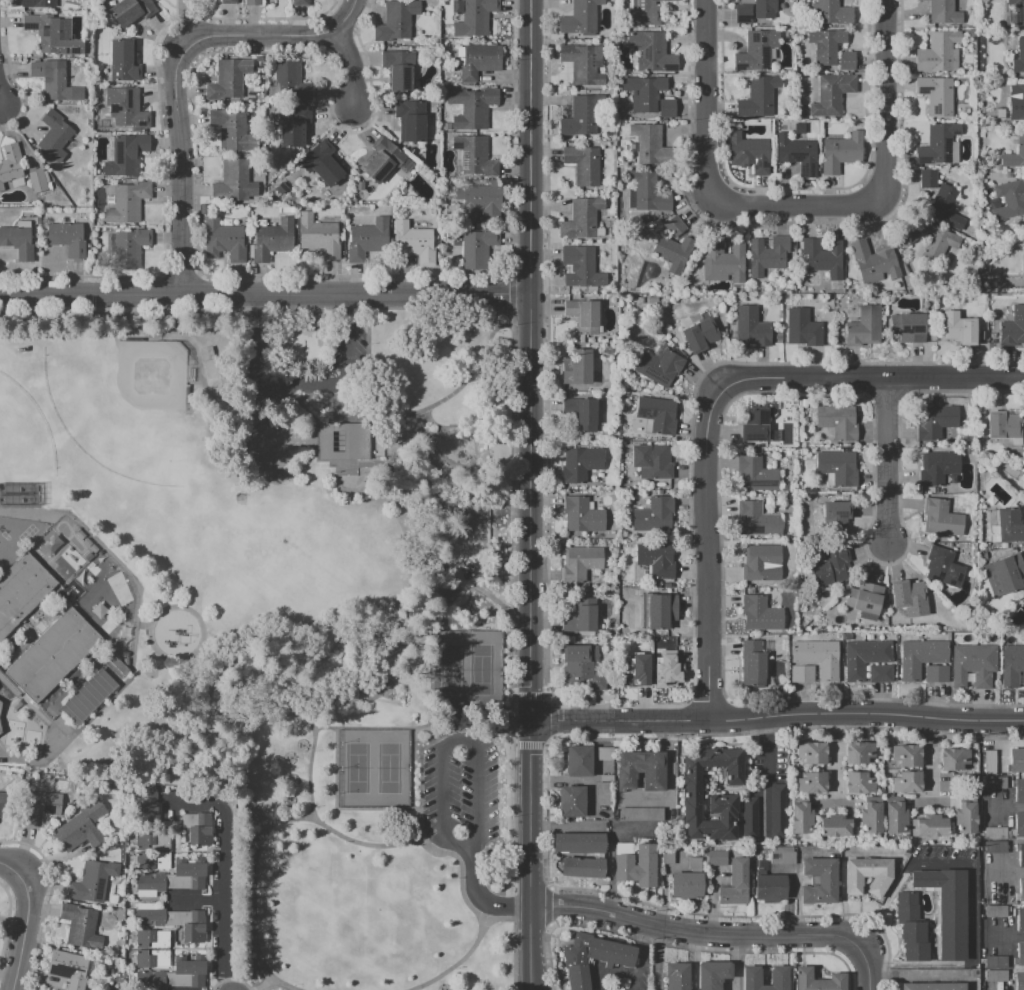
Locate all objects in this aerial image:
building: (229, 1)
building: (253, 2)
building: (34, 3)
building: (300, 3)
building: (764, 9)
building: (131, 11)
building: (644, 13)
building: (743, 13)
building: (831, 13)
building: (945, 13)
building: (1017, 13)
building: (474, 17)
building: (580, 17)
building: (396, 22)
building: (52, 35)
building: (826, 45)
building: (756, 51)
building: (652, 53)
building: (938, 53)
building: (1017, 54)
building: (847, 60)
building: (480, 61)
building: (123, 62)
building: (584, 65)
road: (349, 66)
building: (398, 70)
road: (175, 76)
building: (228, 79)
building: (51, 81)
building: (289, 82)
building: (644, 93)
building: (832, 94)
building: (937, 95)
building: (758, 97)
road: (883, 99)
building: (1017, 99)
road: (0, 101)
building: (125, 108)
building: (471, 108)
building: (668, 108)
building: (76, 114)
building: (580, 116)
building: (410, 123)
building: (294, 128)
building: (228, 129)
building: (54, 135)
building: (937, 143)
building: (1020, 143)
building: (650, 145)
building: (841, 152)
building: (749, 153)
building: (797, 154)
building: (127, 156)
building: (474, 157)
building: (385, 161)
building: (11, 163)
building: (325, 163)
building: (583, 165)
road: (710, 177)
building: (927, 179)
building: (37, 181)
building: (231, 182)
building: (646, 192)
building: (1008, 199)
building: (478, 201)
building: (128, 204)
building: (944, 208)
building: (580, 221)
building: (674, 227)
building: (318, 236)
building: (906, 237)
building: (67, 238)
building: (272, 239)
building: (367, 240)
building: (224, 241)
building: (17, 242)
building: (414, 243)
building: (936, 243)
building: (478, 248)
building: (131, 249)
building: (674, 252)
building: (769, 256)
building: (824, 257)
building: (723, 263)
building: (874, 263)
building: (581, 267)
road: (512, 294)
road: (265, 295)
road: (511, 313)
building: (583, 315)
road: (497, 317)
building: (750, 327)
building: (866, 328)
building: (909, 328)
building: (1012, 328)
building: (803, 329)
building: (959, 329)
building: (697, 332)
parking lot: (348, 348)
building: (206, 353)
road: (530, 360)
building: (577, 367)
building: (660, 368)
road: (200, 377)
road: (875, 378)
building: (225, 379)
road: (213, 386)
road: (296, 387)
road: (511, 396)
road: (334, 398)
park: (121, 404)
building: (581, 413)
building: (656, 414)
building: (836, 421)
building: (936, 421)
building: (1002, 424)
building: (755, 426)
road: (316, 438)
park: (22, 439)
building: (343, 441)
building: (652, 460)
road: (887, 460)
road: (344, 462)
building: (579, 464)
building: (837, 466)
building: (937, 468)
flagpole: (334, 472)
building: (756, 473)
road: (431, 478)
building: (582, 515)
building: (653, 516)
building: (835, 517)
building: (942, 518)
building: (757, 519)
building: (1009, 525)
park: (267, 531)
road: (706, 550)
building: (656, 559)
road: (437, 564)
building: (579, 564)
building: (762, 564)
building: (943, 567)
building: (830, 568)
building: (1007, 572)
park: (118, 588)
building: (21, 590)
road: (490, 597)
building: (865, 598)
building: (910, 601)
road: (136, 610)
park: (304, 611)
building: (658, 611)
building: (759, 612)
road: (154, 618)
building: (580, 618)
road: (143, 625)
road: (415, 630)
road: (470, 630)
building: (422, 637)
road: (214, 651)
building: (802, 652)
building: (878, 652)
building: (934, 652)
building: (53, 655)
building: (753, 659)
building: (826, 660)
building: (855, 661)
building: (910, 662)
building: (655, 664)
building: (961, 664)
building: (583, 665)
building: (983, 665)
building: (1011, 665)
building: (1023, 668)
park: (469, 669)
building: (634, 670)
building: (802, 674)
building: (880, 674)
building: (935, 674)
road: (298, 676)
road: (189, 681)
building: (9, 684)
building: (640, 690)
road: (512, 695)
road: (529, 695)
road: (545, 695)
building: (89, 696)
road: (549, 697)
road: (552, 703)
building: (0, 704)
road: (34, 708)
road: (469, 715)
road: (308, 720)
road: (552, 720)
traffic signals: (532, 721)
road: (778, 721)
road: (429, 725)
road: (363, 728)
road: (450, 729)
road: (552, 738)
road: (457, 740)
road: (550, 743)
road: (528, 745)
road: (544, 745)
road: (766, 747)
building: (812, 752)
building: (858, 752)
building: (604, 753)
building: (906, 756)
road: (933, 756)
road: (837, 759)
building: (954, 759)
building: (578, 760)
building: (1016, 760)
road: (20, 762)
building: (989, 762)
park: (372, 770)
building: (640, 771)
building: (605, 778)
road: (667, 779)
building: (859, 782)
building: (905, 782)
building: (995, 782)
building: (811, 783)
building: (692, 790)
building: (1019, 790)
building: (603, 793)
parking lot: (460, 794)
building: (571, 801)
building: (153, 804)
building: (5, 805)
building: (39, 806)
road: (256, 807)
road: (1004, 807)
building: (776, 810)
building: (640, 814)
building: (870, 814)
building: (894, 814)
building: (965, 816)
building: (748, 818)
building: (800, 818)
building: (1018, 824)
road: (420, 825)
building: (837, 825)
building: (928, 825)
building: (81, 827)
building: (198, 828)
building: (994, 832)
building: (153, 838)
road: (262, 838)
road: (22, 843)
building: (578, 843)
building: (995, 846)
building: (763, 852)
building: (1021, 854)
road: (532, 855)
building: (781, 856)
building: (666, 857)
building: (717, 857)
building: (153, 861)
building: (694, 863)
building: (635, 864)
building: (581, 866)
building: (759, 866)
road: (32, 868)
road: (1003, 871)
road: (461, 872)
building: (866, 875)
building: (171, 880)
building: (819, 880)
building: (92, 881)
road: (224, 882)
building: (734, 883)
building: (686, 885)
road: (969, 885)
building: (769, 887)
building: (1020, 888)
road: (481, 900)
road: (197, 902)
building: (907, 906)
building: (946, 908)
building: (994, 912)
road: (500, 919)
building: (1020, 919)
building: (172, 920)
road: (26, 921)
building: (80, 927)
building: (912, 931)
road: (696, 934)
road: (1020, 937)
building: (152, 939)
building: (916, 951)
building: (1020, 953)
road: (1017, 956)
building: (592, 957)
building: (152, 958)
building: (996, 962)
road: (457, 964)
road: (868, 967)
building: (67, 968)
building: (712, 974)
building: (172, 976)
building: (677, 976)
building: (778, 976)
building: (995, 976)
building: (816, 980)
building: (1019, 981)
road: (1000, 984)
road: (264, 985)
building: (929, 985)

